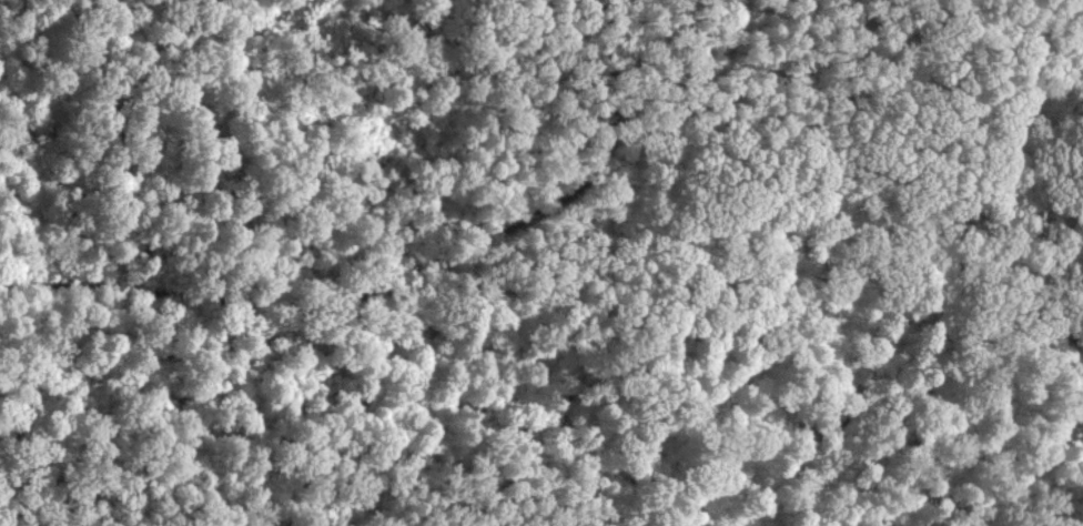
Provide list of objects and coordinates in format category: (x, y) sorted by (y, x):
road: (955, 222)
road: (18, 262)
road: (398, 277)

